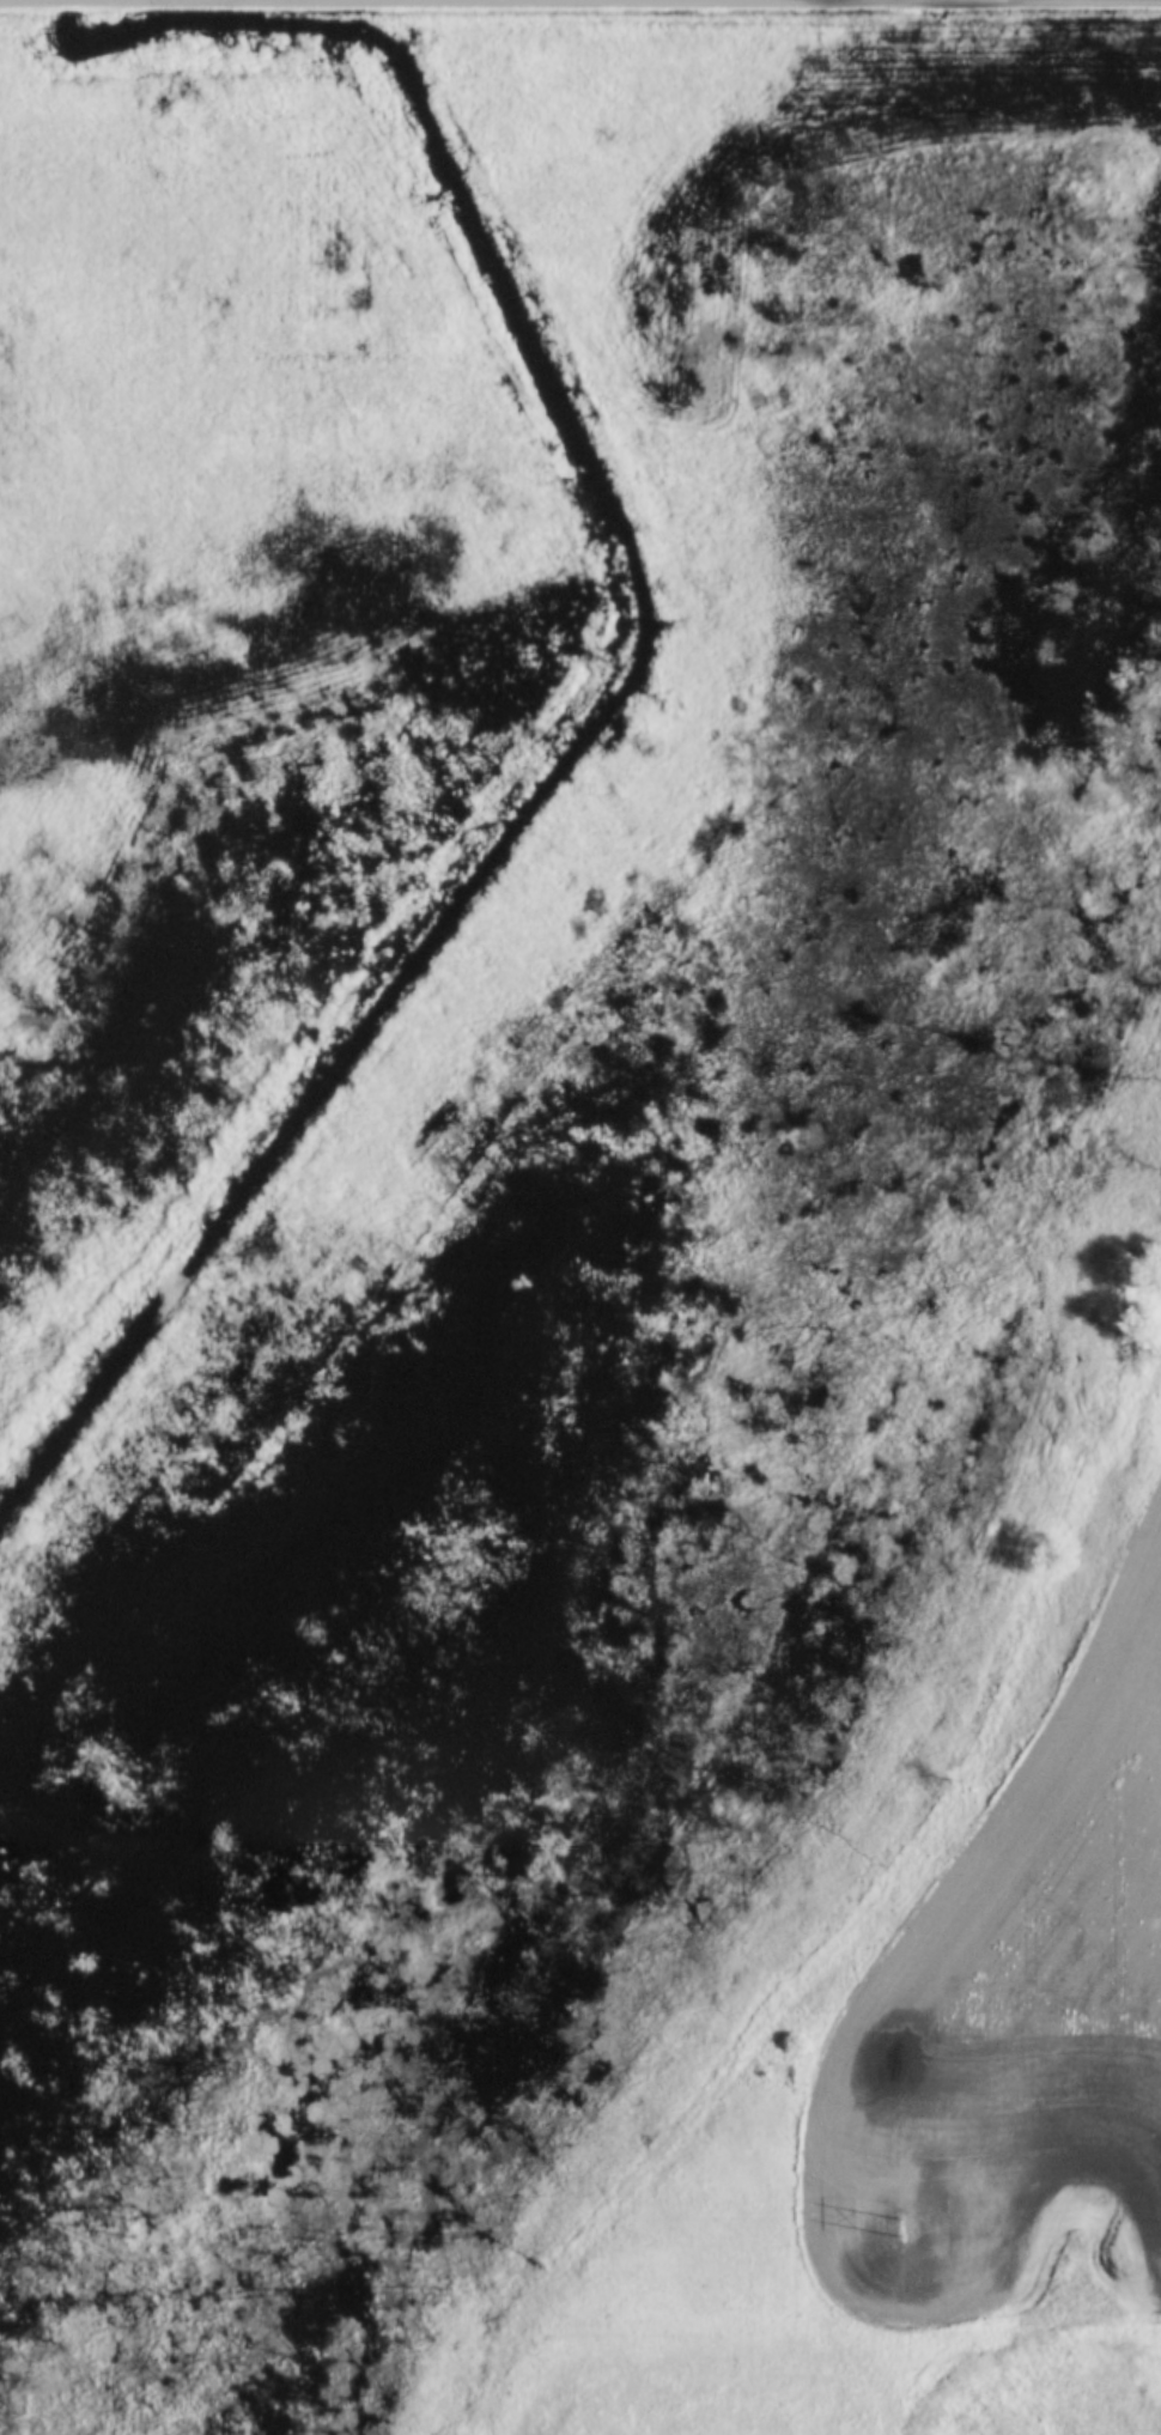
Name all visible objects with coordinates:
road: (579, 1)
crop: (1013, 2022)
power tower: (134, 2228)
power tower: (899, 2228)

